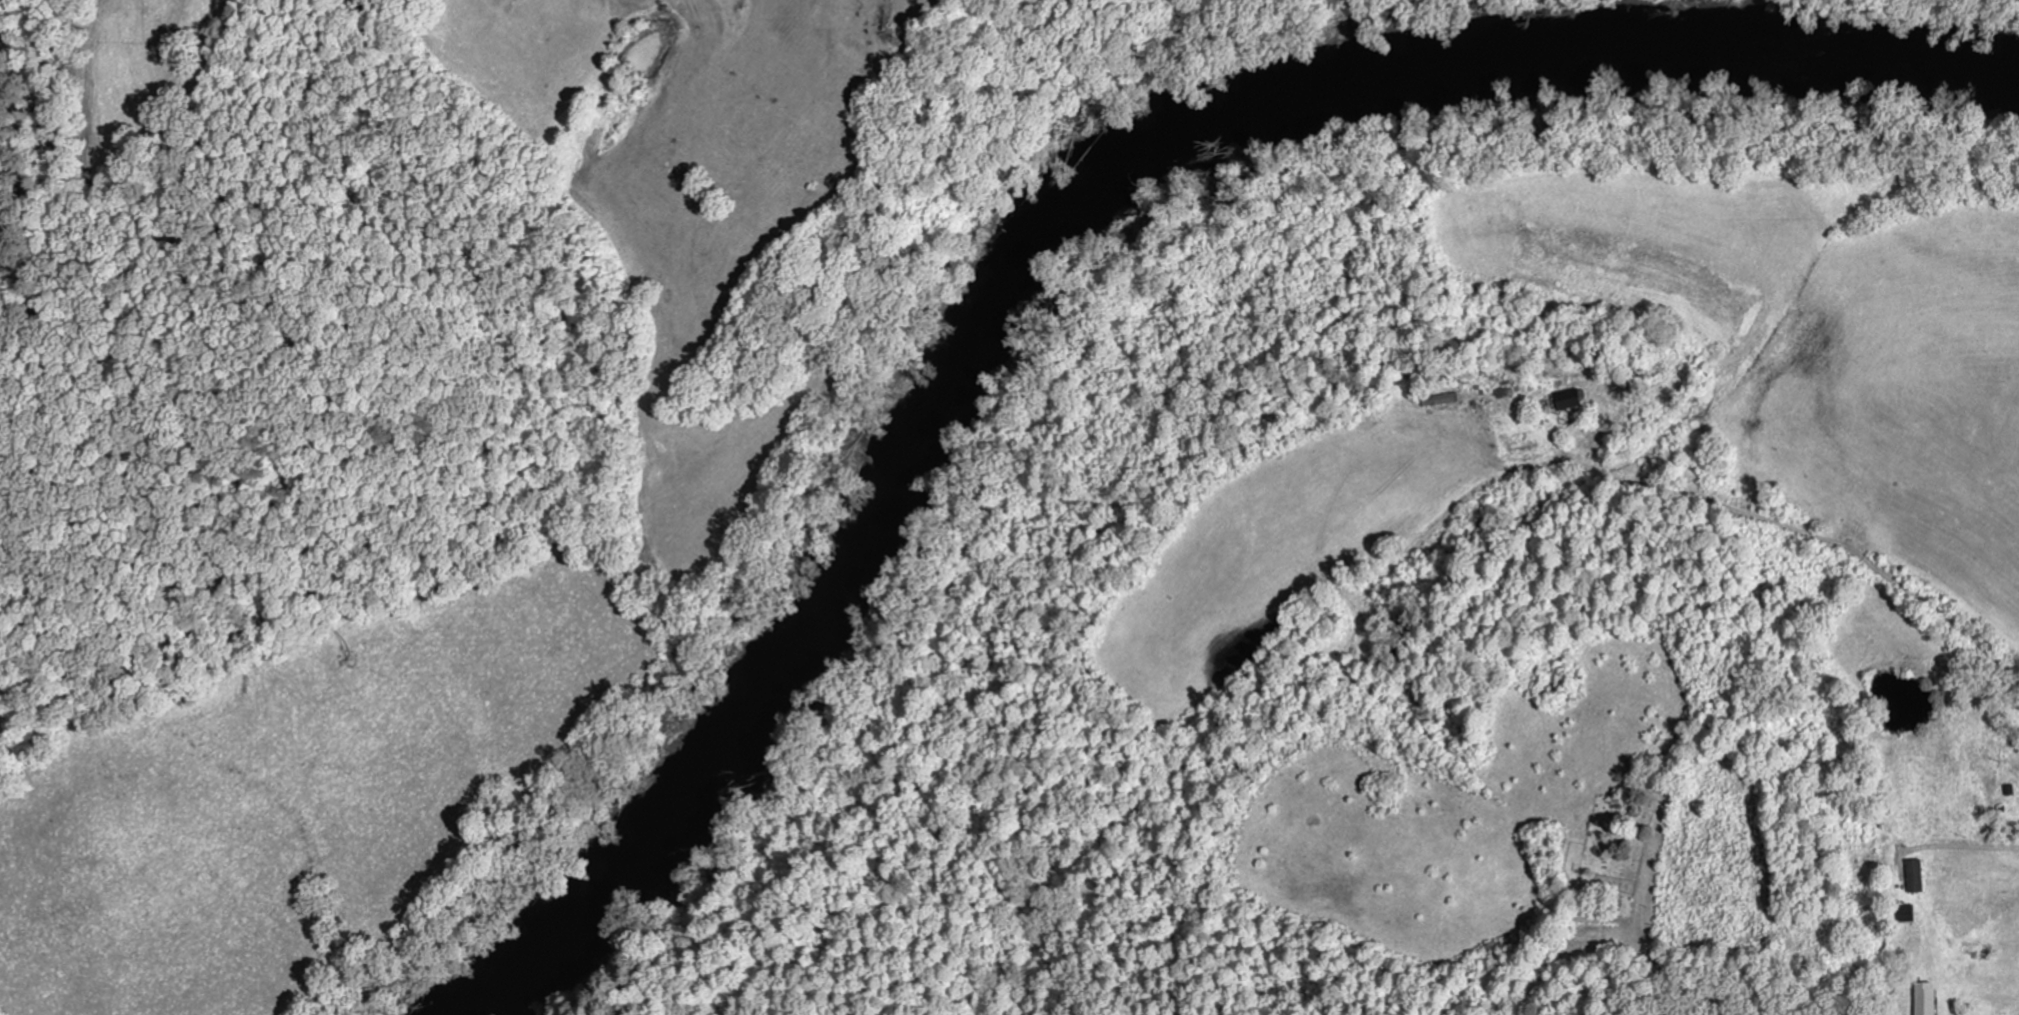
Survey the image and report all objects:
river: (1048, 196)
building: (1567, 402)
park: (1618, 834)
building: (1914, 877)
road: (1645, 944)
building: (1925, 1000)

